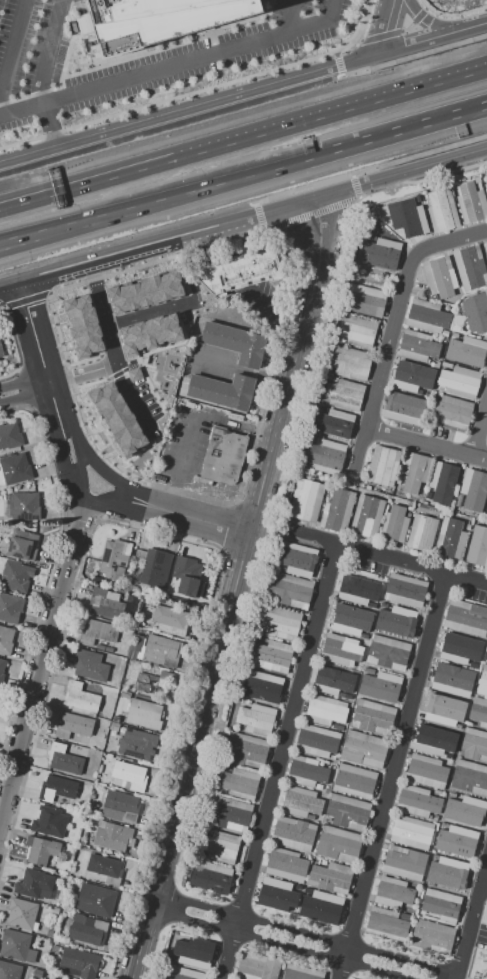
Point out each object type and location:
road: (456, 13)
road: (290, 16)
road: (390, 16)
building: (159, 22)
road: (397, 31)
road: (360, 33)
road: (392, 42)
road: (11, 43)
road: (413, 44)
road: (414, 54)
road: (338, 63)
road: (175, 64)
road: (43, 74)
road: (169, 115)
road: (170, 124)
road: (301, 124)
road: (398, 132)
road: (397, 160)
building: (479, 185)
road: (58, 189)
building: (486, 191)
road: (58, 194)
road: (287, 194)
building: (418, 198)
building: (471, 202)
road: (155, 203)
building: (442, 210)
road: (309, 214)
road: (243, 216)
building: (407, 217)
road: (66, 231)
building: (370, 238)
building: (485, 247)
building: (379, 253)
building: (471, 267)
building: (239, 271)
road: (105, 273)
building: (439, 277)
building: (186, 288)
road: (158, 292)
road: (101, 296)
building: (366, 301)
building: (146, 308)
building: (476, 312)
building: (427, 317)
road: (396, 327)
building: (357, 331)
building: (236, 343)
building: (418, 346)
building: (468, 352)
building: (1, 354)
building: (120, 355)
building: (351, 362)
building: (446, 364)
building: (432, 365)
building: (413, 377)
road: (158, 380)
building: (460, 381)
road: (25, 390)
building: (222, 391)
building: (344, 394)
building: (434, 394)
building: (438, 395)
road: (91, 398)
building: (403, 408)
building: (324, 410)
building: (450, 411)
building: (333, 423)
building: (422, 424)
road: (190, 425)
road: (480, 430)
building: (10, 436)
parking lot: (181, 440)
road: (428, 445)
building: (223, 456)
building: (325, 456)
road: (77, 460)
building: (196, 462)
building: (382, 466)
building: (15, 469)
building: (414, 472)
building: (443, 482)
building: (473, 489)
building: (428, 495)
building: (306, 500)
building: (25, 506)
building: (338, 510)
building: (486, 514)
building: (367, 516)
building: (394, 524)
building: (467, 526)
building: (421, 532)
building: (449, 540)
building: (23, 545)
building: (477, 547)
building: (0, 550)
road: (388, 556)
building: (114, 557)
building: (297, 559)
building: (279, 568)
building: (155, 569)
building: (188, 576)
building: (16, 577)
road: (232, 586)
building: (289, 590)
building: (358, 591)
building: (405, 591)
building: (105, 603)
building: (10, 608)
building: (466, 618)
building: (170, 619)
building: (349, 620)
building: (397, 622)
building: (279, 623)
building: (97, 632)
building: (6, 640)
road: (43, 646)
building: (100, 647)
building: (460, 649)
building: (108, 650)
building: (161, 650)
building: (340, 650)
building: (131, 653)
building: (139, 653)
building: (388, 653)
building: (271, 656)
building: (486, 656)
building: (90, 665)
building: (473, 665)
building: (1, 668)
building: (368, 671)
building: (453, 680)
building: (333, 681)
building: (482, 682)
building: (153, 683)
building: (262, 686)
building: (380, 687)
building: (125, 694)
building: (342, 695)
building: (81, 697)
building: (325, 710)
building: (441, 711)
building: (478, 711)
building: (144, 714)
building: (373, 715)
building: (115, 718)
building: (255, 720)
building: (72, 725)
building: (113, 726)
building: (317, 741)
building: (434, 741)
building: (474, 744)
building: (136, 745)
building: (245, 749)
building: (364, 749)
building: (64, 760)
road: (278, 760)
building: (307, 771)
building: (426, 771)
road: (391, 774)
building: (128, 776)
building: (470, 777)
building: (354, 780)
building: (238, 784)
building: (318, 786)
building: (56, 788)
building: (417, 801)
building: (301, 802)
building: (120, 807)
building: (464, 810)
building: (347, 811)
building: (229, 813)
building: (74, 816)
building: (310, 817)
building: (434, 817)
building: (46, 821)
building: (411, 832)
building: (294, 833)
building: (112, 836)
building: (458, 842)
building: (82, 843)
building: (338, 844)
building: (220, 846)
building: (41, 850)
building: (323, 863)
building: (405, 863)
building: (286, 864)
building: (104, 866)
building: (450, 874)
building: (211, 877)
building: (331, 877)
building: (111, 880)
building: (35, 884)
road: (483, 885)
building: (393, 893)
building: (279, 895)
building: (96, 901)
building: (56, 904)
building: (441, 905)
building: (320, 907)
building: (22, 914)
building: (405, 916)
road: (471, 916)
building: (386, 923)
building: (88, 930)
building: (176, 933)
road: (307, 933)
building: (432, 936)
road: (282, 944)
building: (16, 947)
building: (192, 952)
building: (78, 963)
building: (257, 966)
building: (9, 971)
building: (37, 973)
building: (301, 973)
building: (182, 974)
building: (59, 978)

